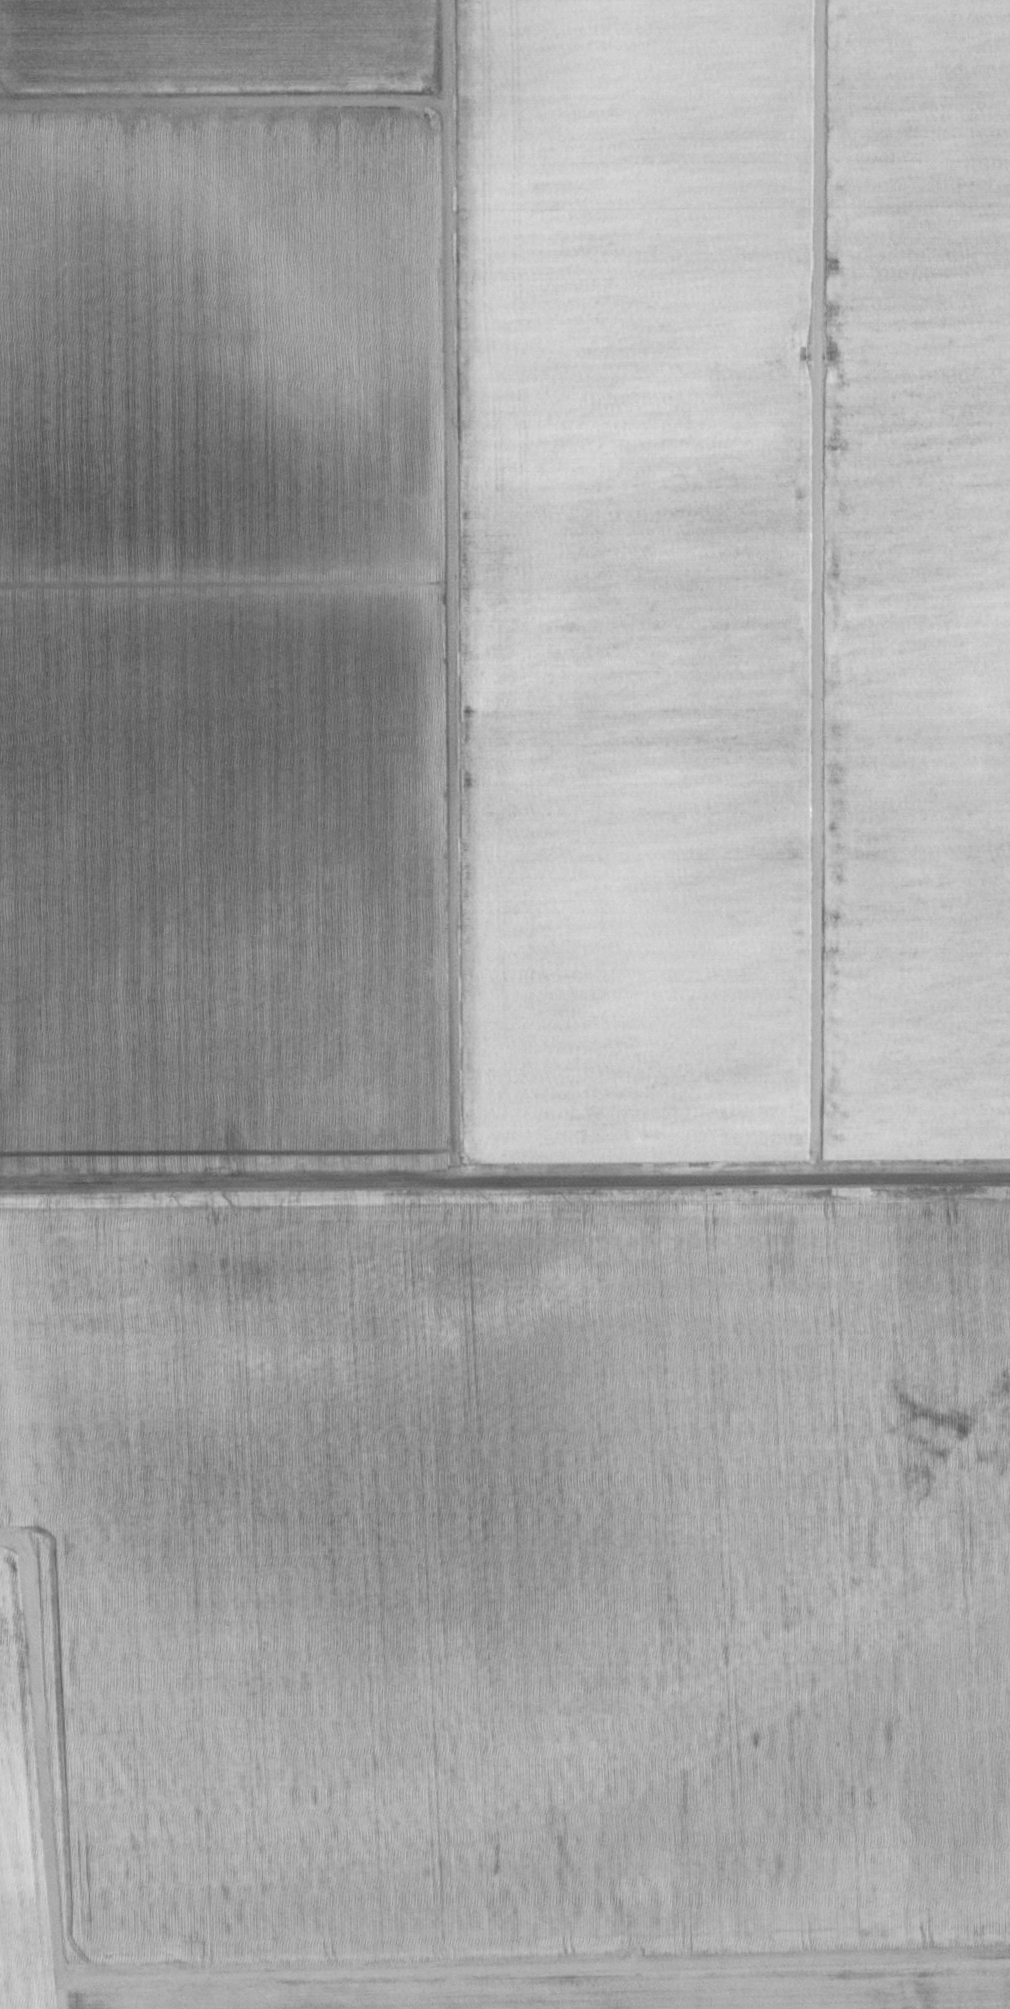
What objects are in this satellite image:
road: (220, 102)
road: (442, 592)
road: (504, 1184)
road: (899, 1596)
road: (35, 1770)
road: (530, 1945)

